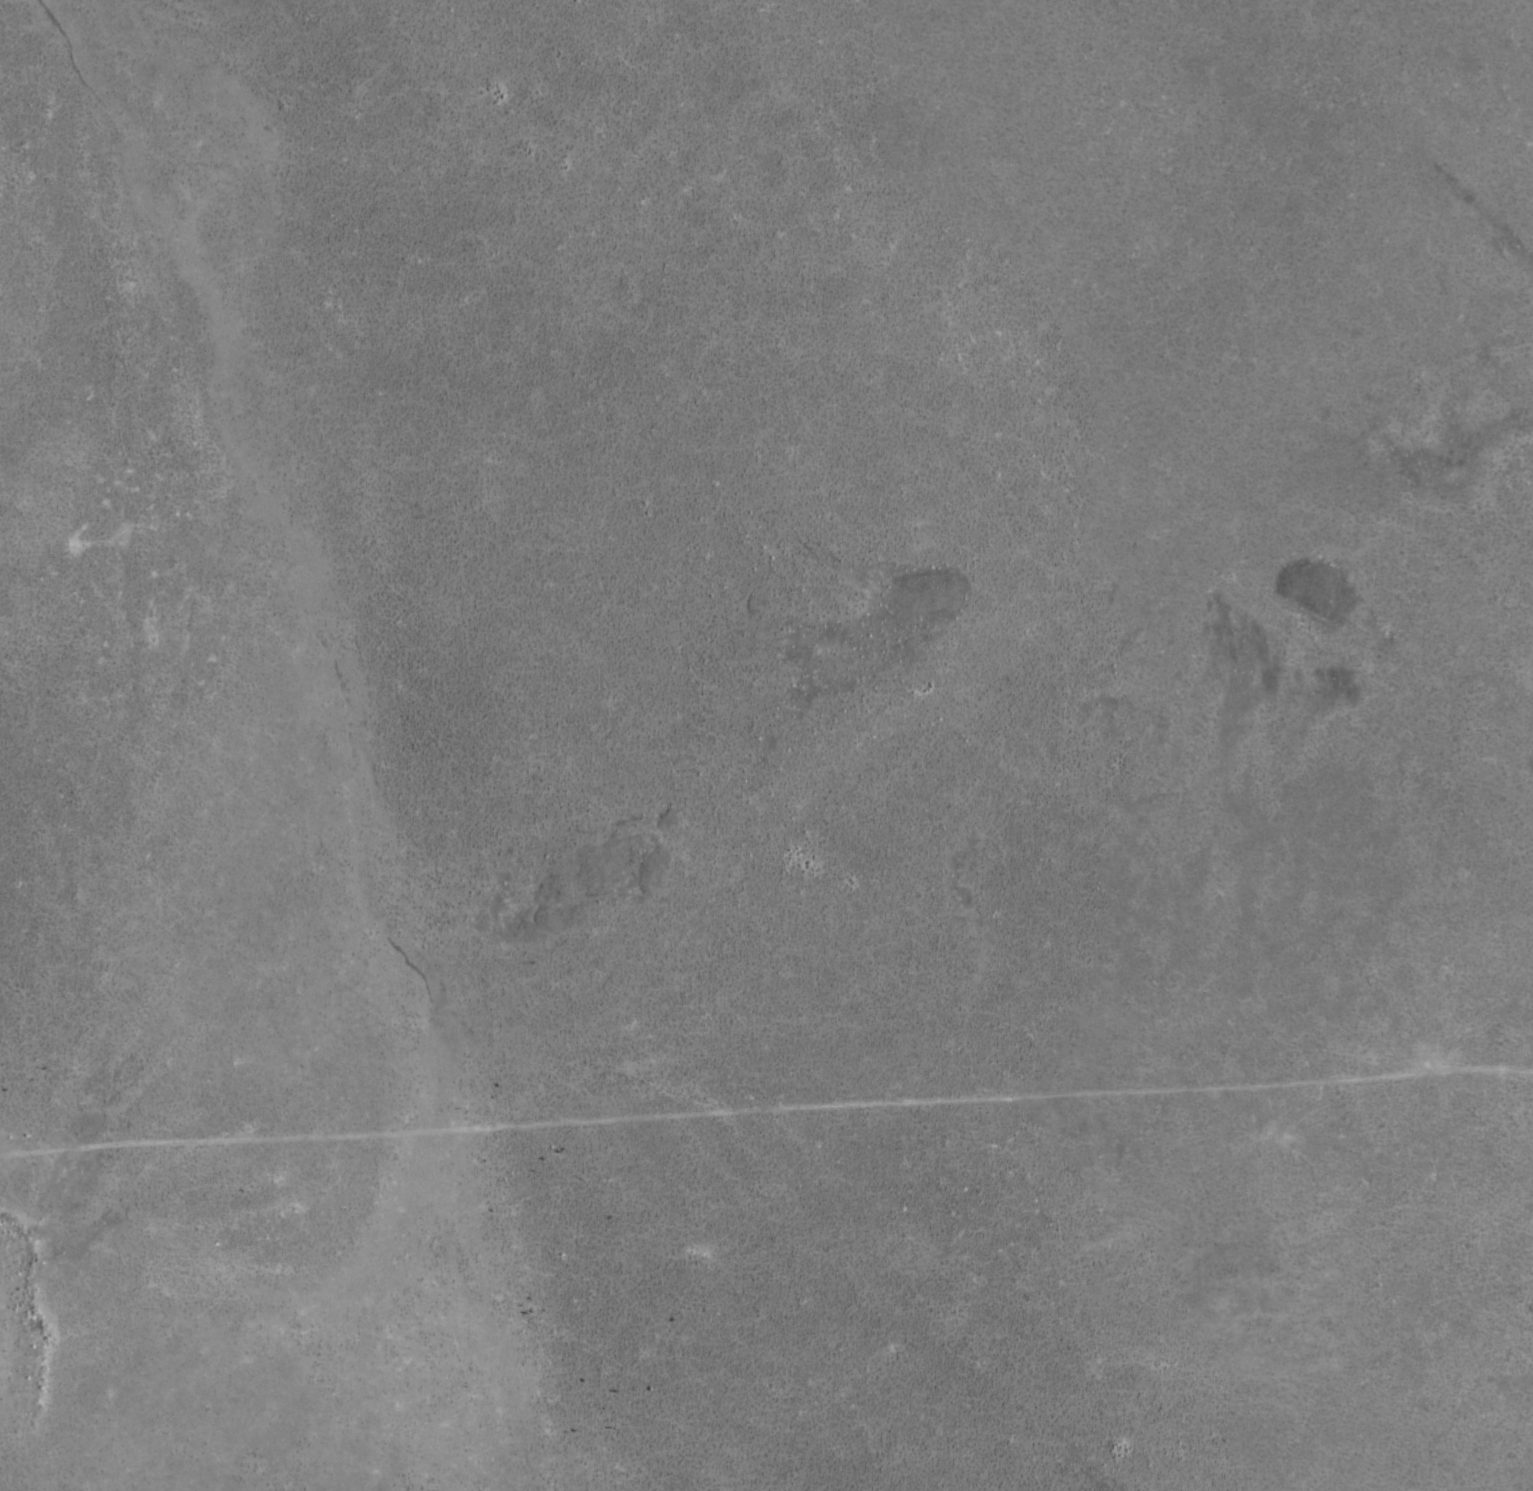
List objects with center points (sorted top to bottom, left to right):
road: (766, 1113)

